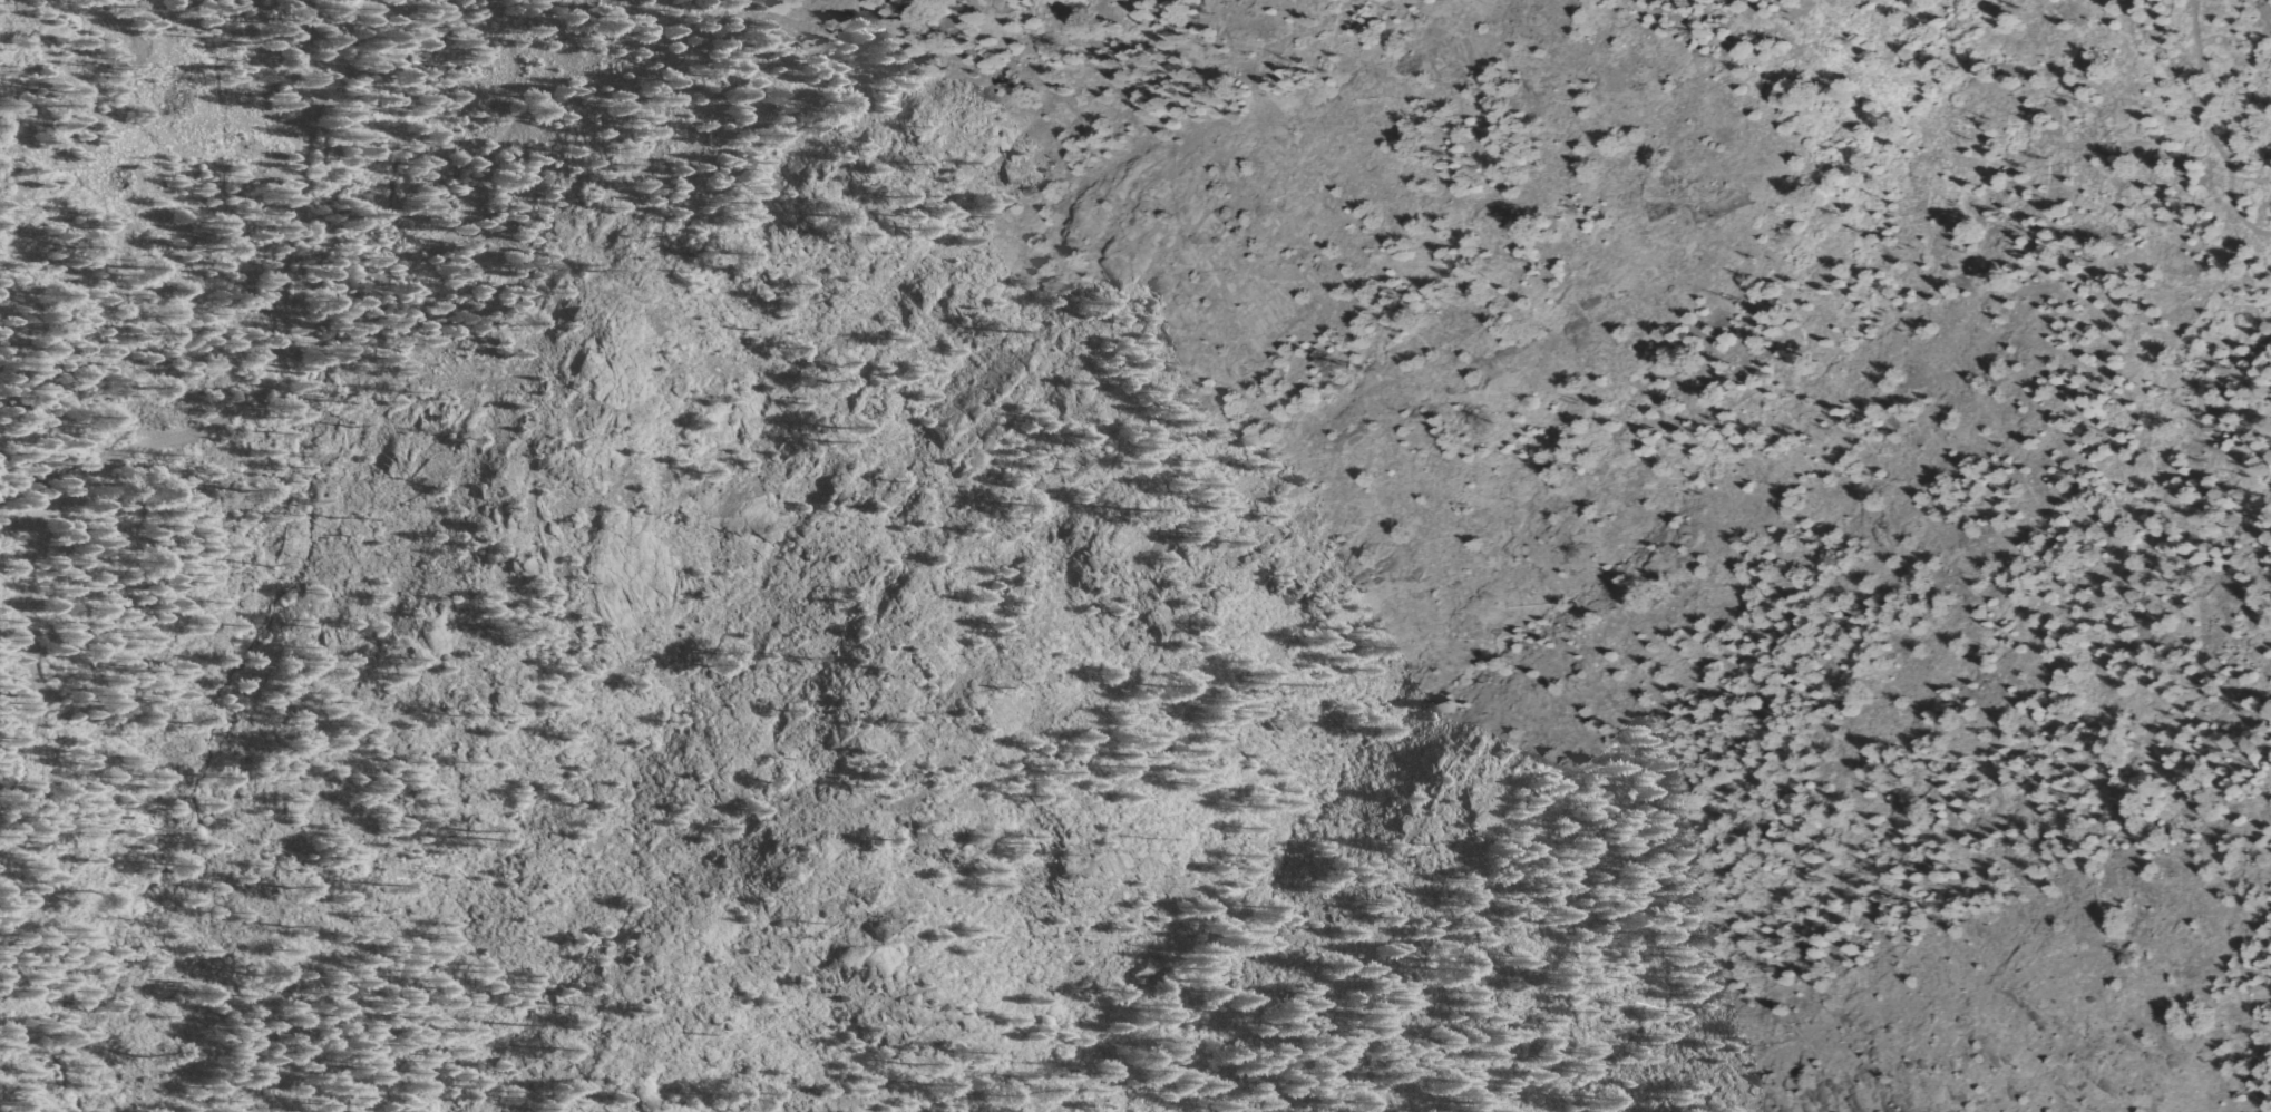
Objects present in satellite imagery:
road: (243, 314)

